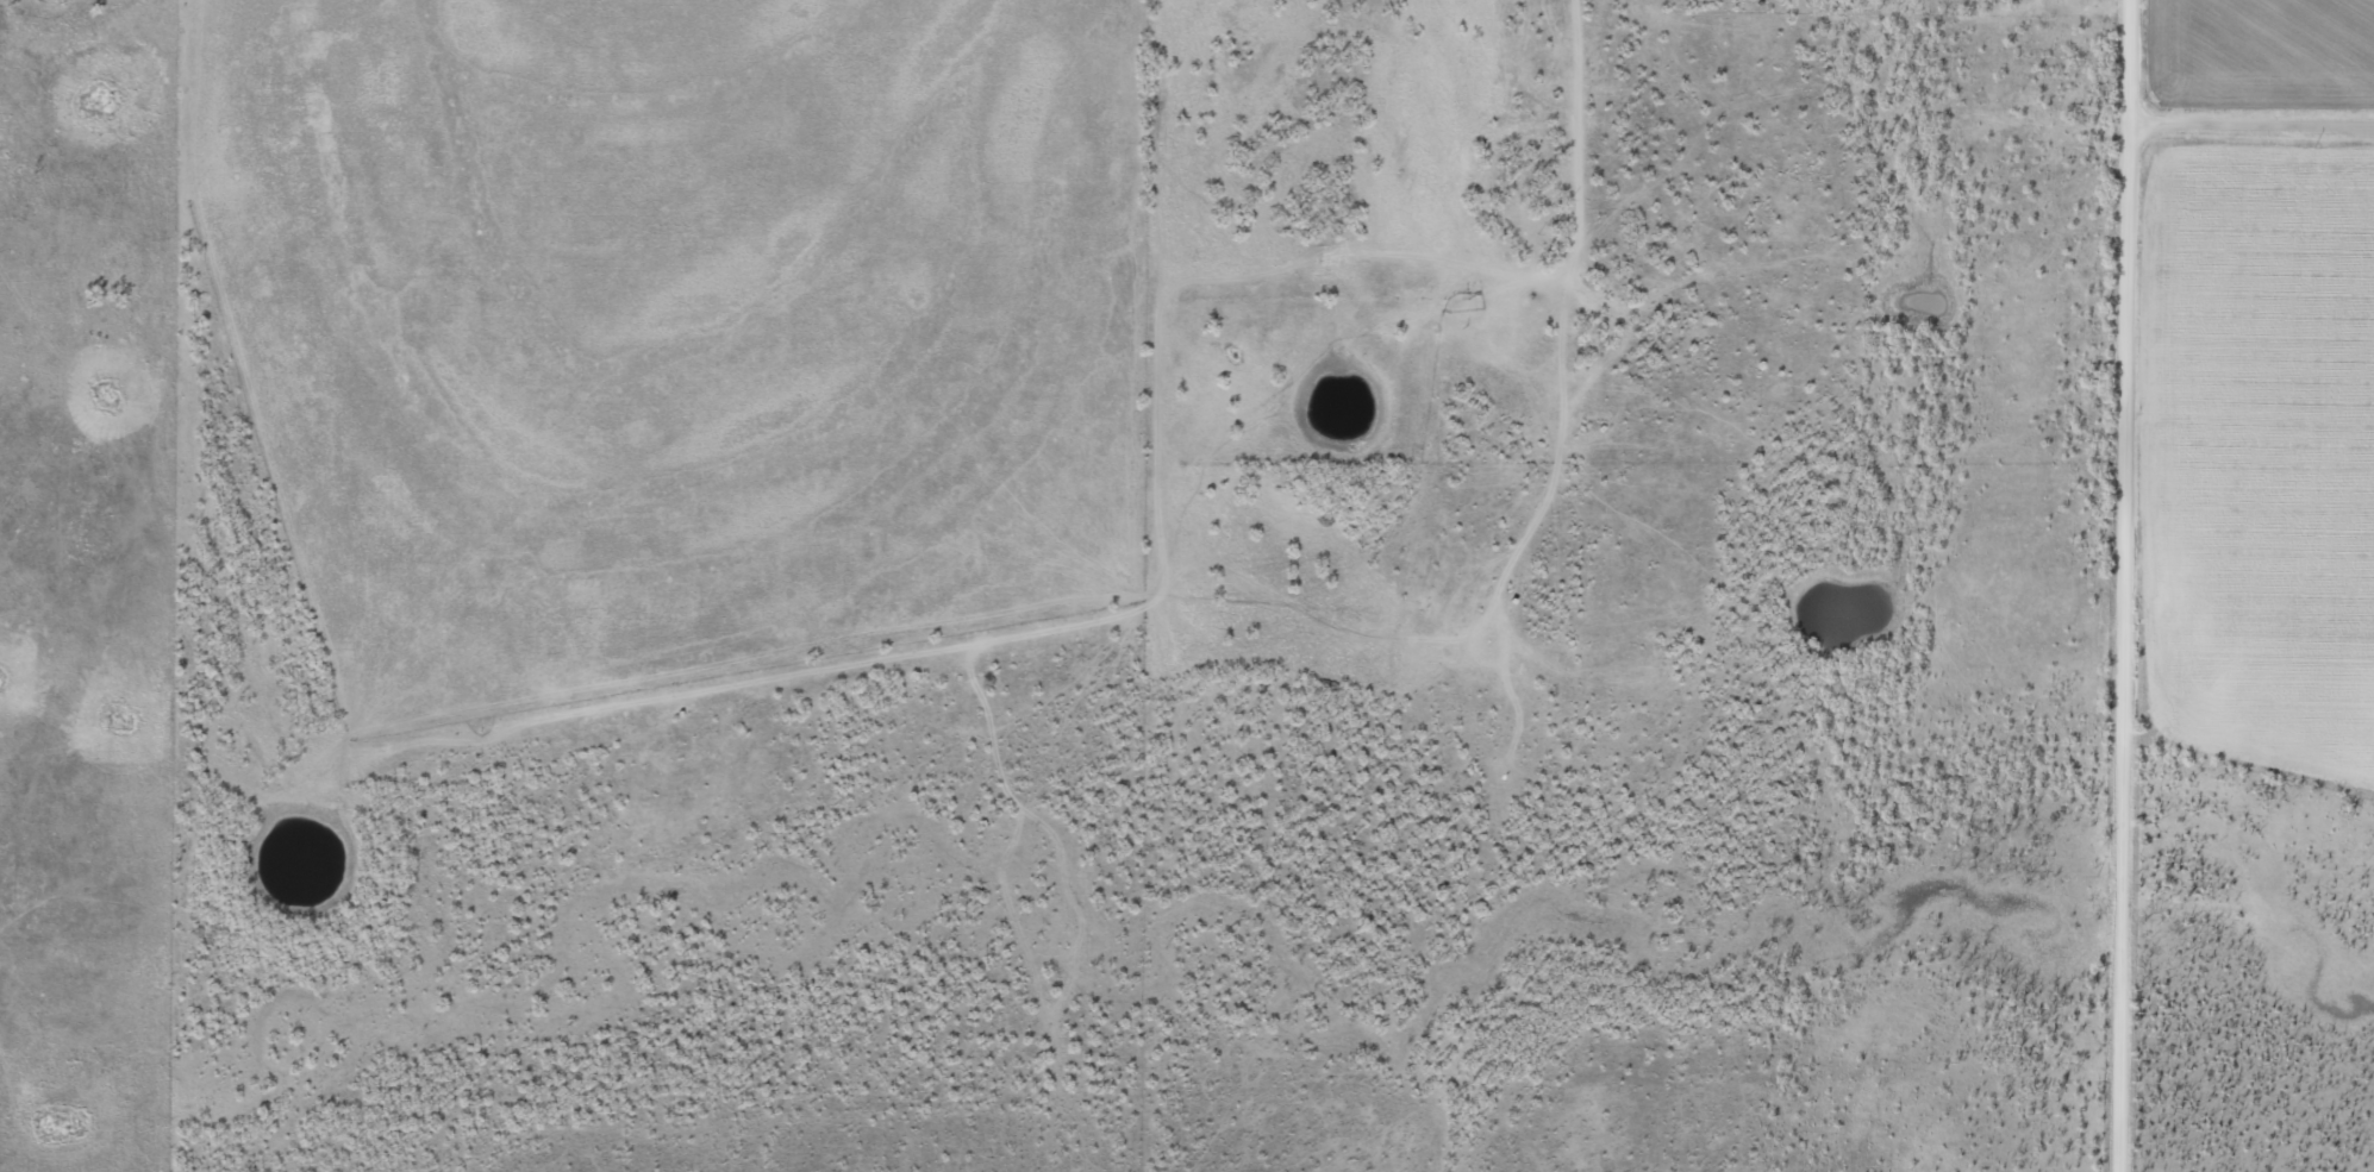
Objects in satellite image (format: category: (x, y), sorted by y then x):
road: (2249, 126)
road: (2139, 585)

